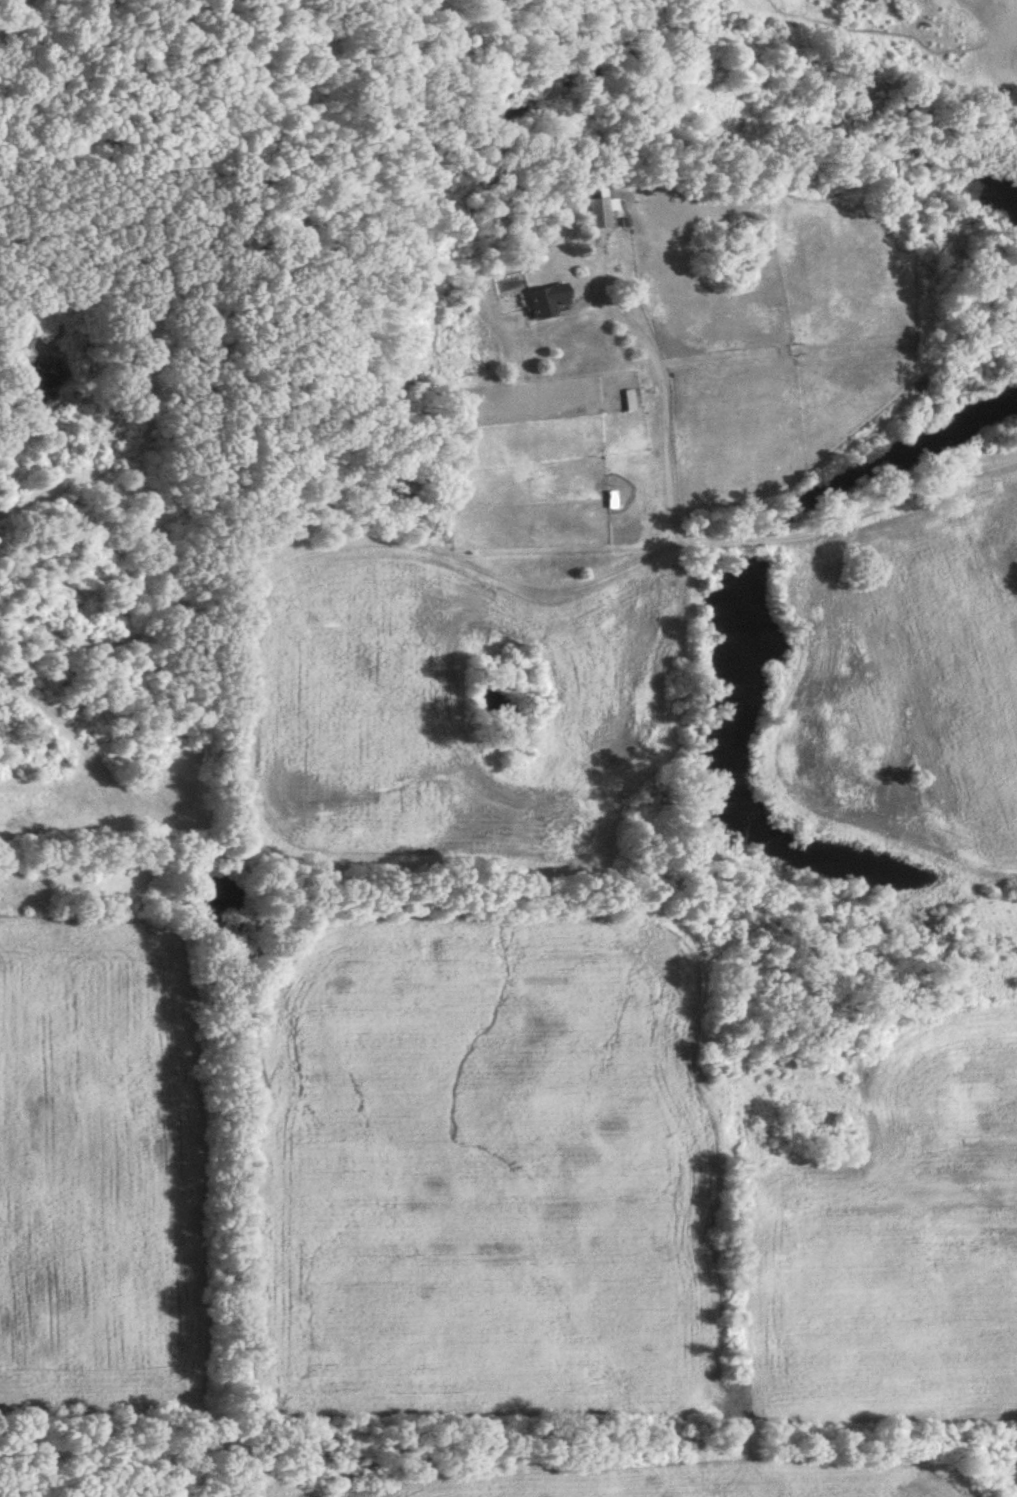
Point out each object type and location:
building: (603, 211)
building: (546, 301)
road: (696, 540)

